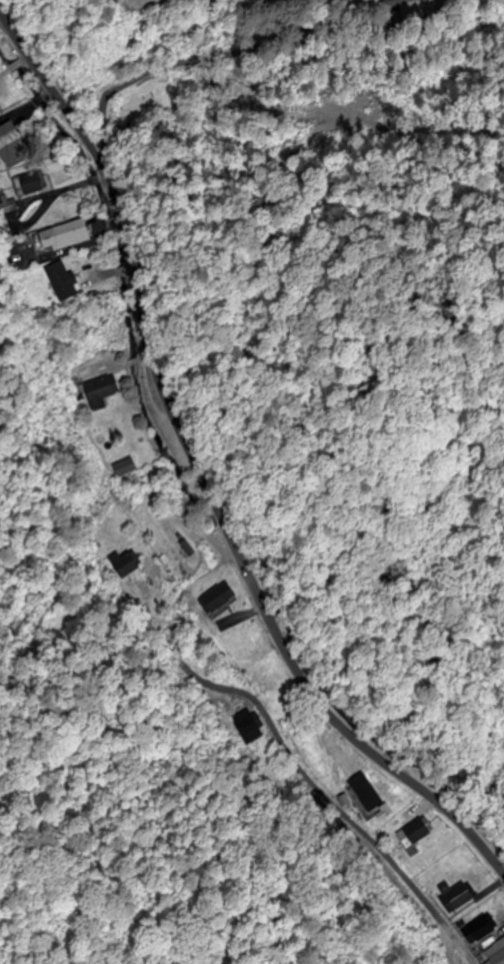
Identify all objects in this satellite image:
road: (235, 53)
building: (30, 185)
building: (61, 238)
building: (64, 288)
building: (100, 389)
building: (124, 468)
road: (199, 475)
building: (216, 600)
building: (359, 797)
road: (345, 815)
building: (412, 833)
building: (454, 899)
building: (478, 934)
building: (496, 957)

